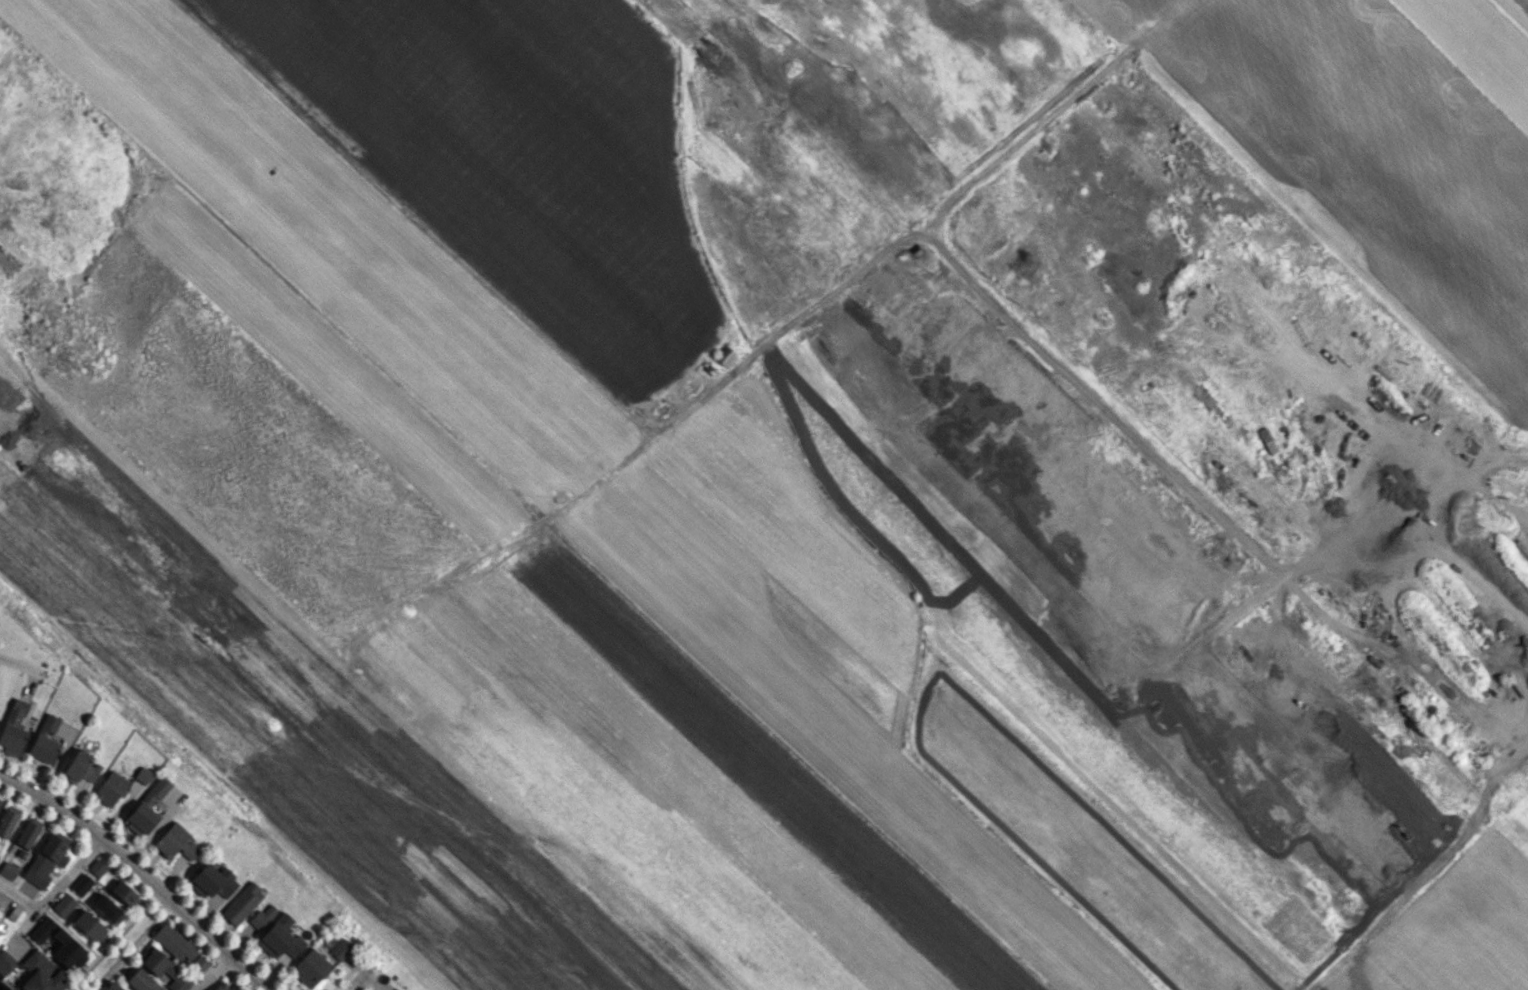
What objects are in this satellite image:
road: (20, 664)
building: (49, 723)
building: (13, 728)
building: (42, 747)
building: (80, 767)
building: (142, 775)
building: (109, 788)
building: (0, 801)
building: (145, 809)
building: (7, 820)
building: (28, 833)
building: (175, 842)
building: (45, 858)
building: (96, 868)
building: (7, 870)
road: (140, 875)
building: (211, 881)
road: (57, 884)
building: (81, 884)
building: (125, 895)
road: (17, 896)
building: (0, 898)
building: (242, 903)
building: (63, 904)
building: (106, 908)
building: (13, 913)
building: (263, 916)
building: (88, 925)
building: (1, 934)
building: (280, 937)
building: (173, 943)
building: (67, 944)
building: (337, 947)
building: (5, 961)
building: (199, 963)
building: (309, 967)
building: (165, 970)
road: (213, 971)
building: (37, 974)
building: (139, 979)
road: (357, 979)
building: (112, 986)
building: (220, 987)
building: (397, 989)

